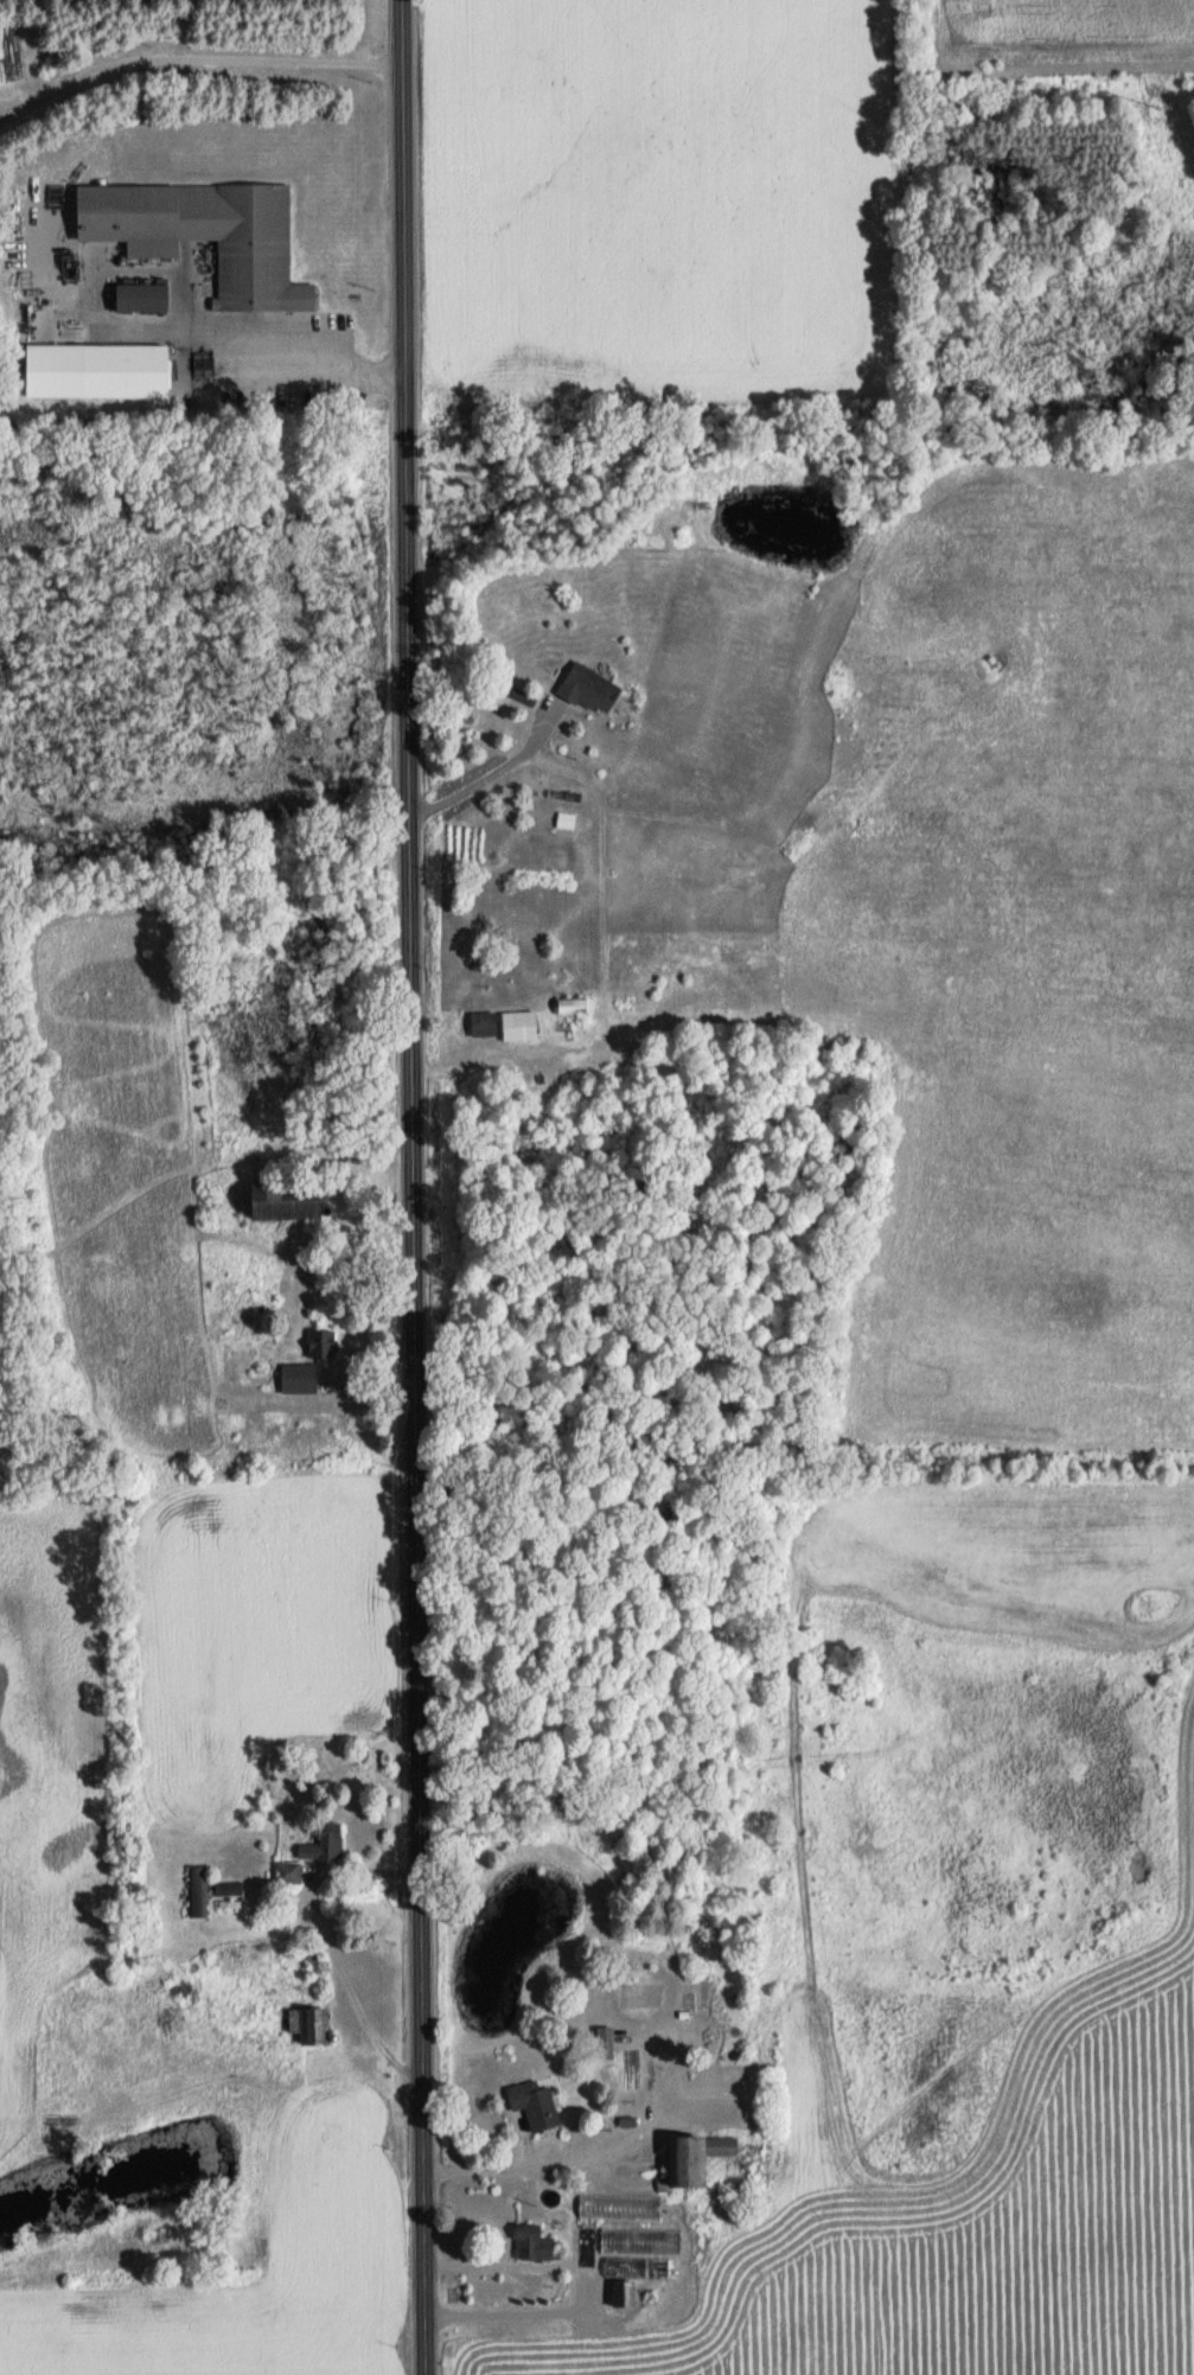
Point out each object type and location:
road: (192, 57)
building: (204, 234)
building: (140, 295)
road: (293, 347)
building: (124, 369)
building: (589, 688)
road: (485, 778)
building: (564, 821)
building: (574, 1005)
building: (483, 1023)
building: (518, 1024)
road: (409, 1187)
building: (286, 1195)
building: (320, 1342)
building: (307, 1377)
building: (323, 1844)
building: (287, 1872)
building: (308, 2024)
building: (604, 2043)
building: (534, 2103)
building: (691, 2159)
building: (618, 2205)
building: (638, 2240)
building: (532, 2242)
building: (583, 2248)
building: (624, 2265)
road: (581, 2287)
building: (622, 2293)

